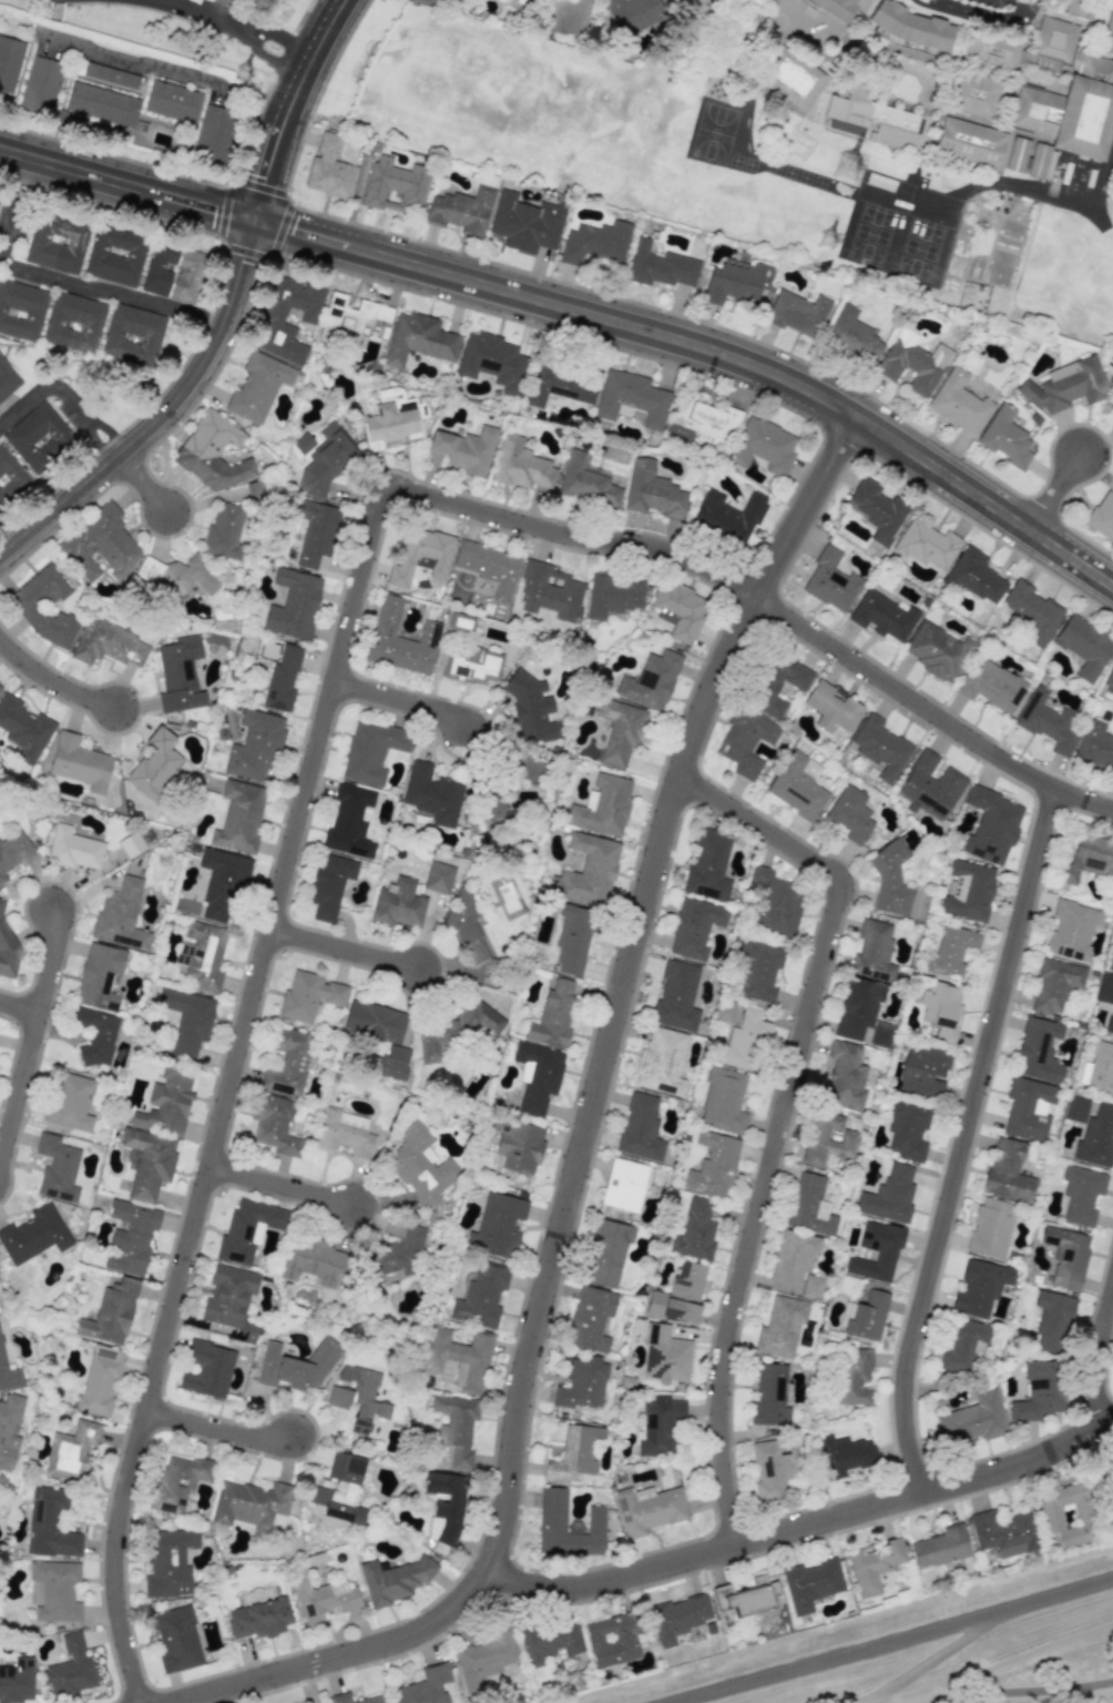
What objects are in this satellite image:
building: (728, 0)
road: (1023, 1)
road: (1030, 1)
power tower: (264, 3)
building: (433, 3)
building: (515, 4)
road: (193, 7)
road: (218, 8)
building: (833, 8)
building: (1076, 8)
building: (632, 14)
building: (566, 17)
road: (983, 17)
building: (797, 19)
road: (233, 27)
building: (909, 32)
building: (1110, 34)
road: (288, 38)
building: (1054, 39)
building: (992, 50)
building: (9, 62)
road: (275, 67)
road: (166, 75)
power tower: (241, 77)
building: (792, 78)
building: (40, 85)
building: (974, 93)
building: (172, 101)
building: (101, 104)
road: (287, 107)
building: (875, 116)
building: (1085, 118)
building: (213, 134)
building: (970, 141)
power tower: (844, 149)
building: (1030, 159)
building: (329, 170)
road: (126, 184)
building: (396, 185)
road: (1065, 201)
road: (12, 202)
building: (461, 211)
building: (525, 223)
power tower: (827, 232)
building: (57, 243)
building: (595, 243)
building: (115, 255)
building: (660, 266)
building: (173, 273)
building: (736, 281)
road: (122, 296)
building: (21, 310)
building: (797, 313)
building: (274, 315)
building: (350, 317)
building: (74, 323)
building: (133, 335)
building: (852, 335)
building: (418, 339)
road: (706, 348)
building: (491, 361)
building: (911, 364)
building: (7, 379)
building: (559, 385)
building: (1065, 385)
building: (258, 386)
road: (64, 396)
building: (631, 398)
building: (959, 403)
road: (162, 410)
building: (390, 423)
building: (705, 424)
building: (38, 437)
building: (1005, 438)
building: (303, 443)
building: (763, 446)
building: (464, 449)
building: (212, 453)
building: (325, 462)
building: (520, 465)
building: (10, 477)
road: (143, 481)
building: (586, 481)
building: (255, 490)
building: (652, 490)
road: (1060, 494)
building: (876, 509)
building: (731, 513)
building: (1102, 516)
building: (224, 531)
building: (316, 533)
building: (100, 545)
building: (927, 545)
building: (420, 556)
building: (489, 567)
building: (180, 575)
building: (976, 576)
building: (830, 581)
building: (550, 592)
building: (613, 595)
building: (294, 605)
building: (44, 607)
building: (678, 609)
building: (1032, 611)
building: (882, 615)
building: (460, 622)
building: (399, 639)
building: (108, 645)
building: (1084, 646)
building: (938, 651)
building: (471, 665)
building: (180, 675)
building: (1109, 678)
building: (282, 679)
building: (650, 681)
road: (53, 682)
building: (776, 685)
building: (991, 686)
building: (0, 687)
road: (328, 698)
road: (401, 703)
building: (531, 708)
building: (831, 708)
building: (1049, 721)
building: (23, 729)
building: (620, 731)
building: (745, 741)
building: (1095, 746)
building: (254, 747)
building: (880, 748)
building: (370, 751)
building: (79, 762)
building: (154, 764)
building: (529, 767)
building: (930, 784)
building: (796, 788)
building: (431, 793)
building: (491, 804)
building: (602, 805)
building: (850, 814)
building: (238, 817)
building: (349, 822)
building: (991, 827)
building: (131, 844)
building: (73, 849)
building: (13, 853)
building: (1089, 858)
building: (708, 865)
building: (588, 871)
building: (438, 878)
building: (890, 879)
building: (221, 884)
building: (328, 885)
building: (967, 890)
building: (776, 902)
building: (398, 903)
building: (121, 914)
building: (694, 927)
building: (1071, 930)
building: (572, 939)
building: (471, 946)
building: (7, 949)
road: (343, 950)
building: (951, 950)
building: (874, 952)
building: (203, 955)
building: (1110, 961)
building: (759, 970)
building: (99, 974)
building: (1054, 984)
building: (1104, 989)
building: (308, 995)
building: (676, 996)
road: (19, 1006)
building: (857, 1007)
building: (941, 1010)
building: (553, 1015)
building: (186, 1021)
building: (372, 1022)
building: (1109, 1025)
building: (457, 1030)
building: (881, 1034)
road: (31, 1035)
building: (96, 1035)
building: (744, 1041)
building: (1038, 1051)
building: (287, 1062)
building: (661, 1062)
building: (391, 1063)
building: (923, 1070)
building: (1097, 1071)
building: (845, 1075)
building: (537, 1076)
building: (723, 1101)
building: (70, 1102)
building: (166, 1103)
building: (1028, 1107)
building: (1075, 1108)
road: (782, 1116)
building: (273, 1125)
building: (640, 1128)
building: (907, 1131)
building: (345, 1132)
building: (828, 1137)
road: (582, 1141)
road: (967, 1142)
building: (519, 1147)
building: (149, 1163)
building: (419, 1165)
building: (713, 1165)
building: (57, 1168)
building: (1007, 1172)
building: (624, 1185)
road: (280, 1187)
building: (1081, 1194)
building: (889, 1196)
building: (809, 1206)
building: (498, 1226)
building: (990, 1228)
building: (247, 1229)
building: (695, 1231)
building: (34, 1235)
building: (130, 1237)
building: (876, 1251)
building: (606, 1254)
building: (395, 1256)
building: (793, 1257)
building: (1066, 1257)
building: (312, 1260)
building: (811, 1287)
building: (980, 1287)
building: (483, 1295)
building: (678, 1295)
building: (111, 1314)
building: (867, 1317)
building: (590, 1319)
building: (1052, 1321)
building: (780, 1328)
building: (962, 1346)
road: (1096, 1351)
building: (665, 1356)
building: (458, 1360)
building: (296, 1365)
building: (206, 1369)
building: (9, 1373)
building: (852, 1377)
building: (100, 1381)
building: (583, 1385)
building: (1038, 1391)
building: (769, 1395)
building: (357, 1398)
building: (972, 1420)
building: (660, 1426)
building: (456, 1427)
building: (9, 1429)
road: (216, 1429)
building: (71, 1451)
building: (844, 1456)
building: (772, 1467)
building: (177, 1482)
building: (339, 1489)
building: (249, 1503)
building: (443, 1506)
building: (647, 1509)
building: (1069, 1514)
building: (552, 1519)
building: (50, 1524)
road: (799, 1530)
building: (1003, 1532)
building: (940, 1547)
building: (169, 1563)
building: (874, 1565)
building: (392, 1580)
building: (811, 1583)
building: (55, 1591)
building: (320, 1596)
building: (746, 1596)
building: (259, 1618)
building: (677, 1618)
building: (175, 1639)
building: (613, 1639)
road: (895, 1641)
building: (551, 1642)
building: (483, 1660)
building: (70, 1669)
building: (17, 1681)
building: (426, 1686)
road: (1033, 1692)
building: (374, 1699)

